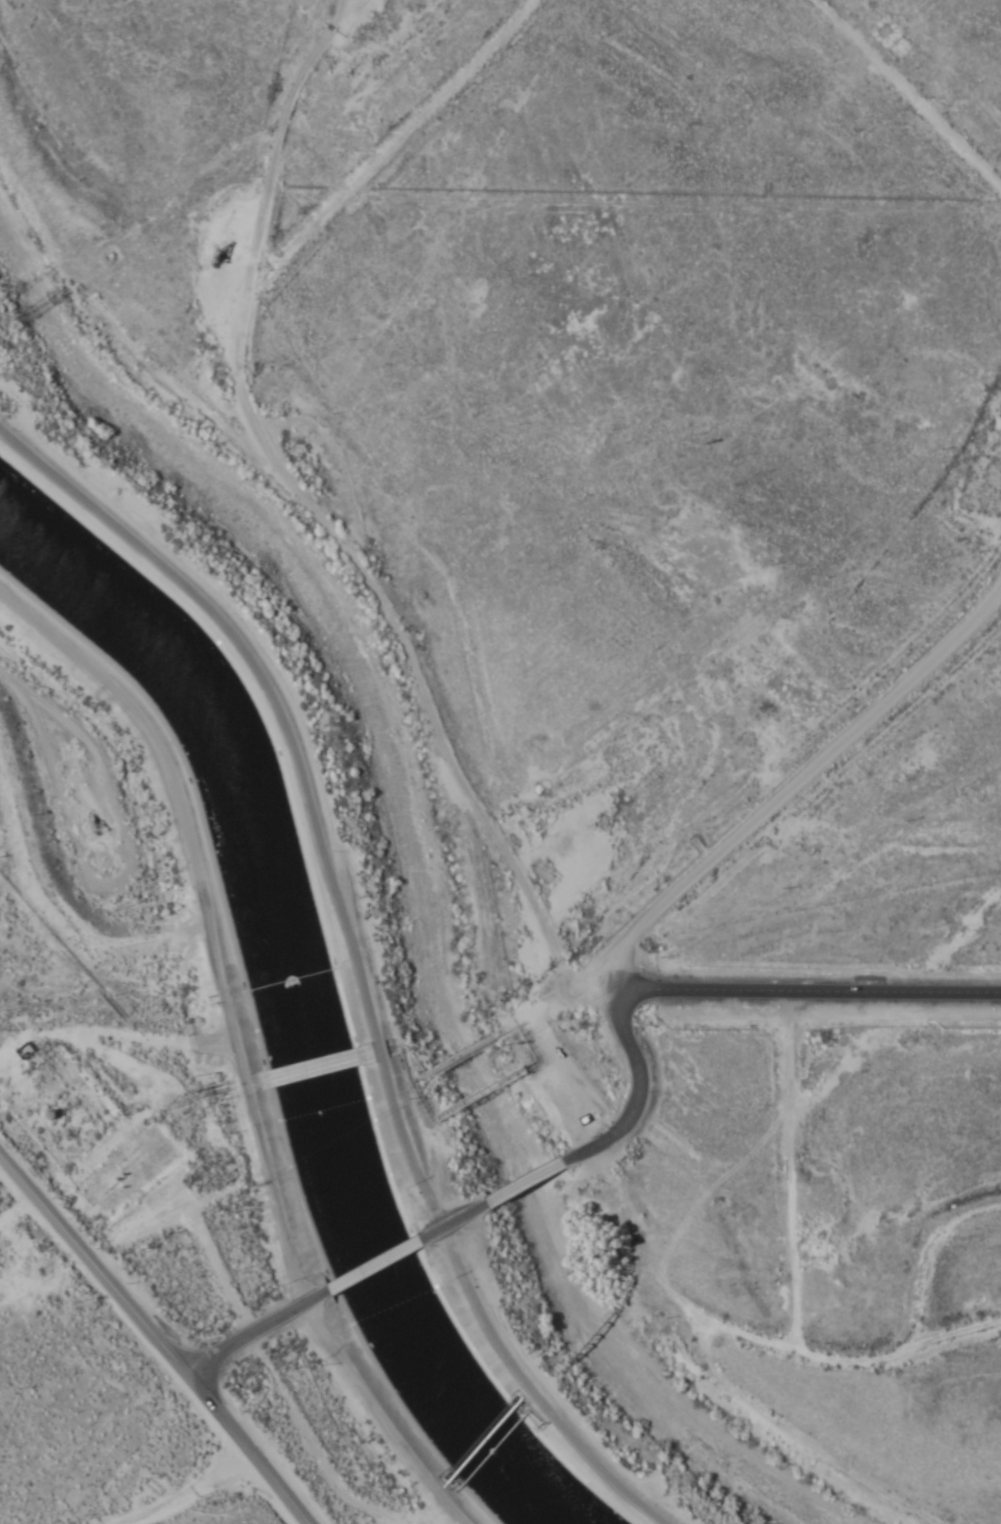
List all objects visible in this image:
road: (910, 94)
road: (339, 484)
road: (19, 686)
road: (802, 777)
road: (115, 883)
road: (355, 969)
road: (704, 980)
road: (239, 1058)
road: (446, 1059)
road: (312, 1071)
road: (782, 1160)
road: (521, 1177)
road: (453, 1224)
road: (373, 1264)
road: (251, 1330)
road: (152, 1338)
road: (832, 1338)
road: (197, 1495)

